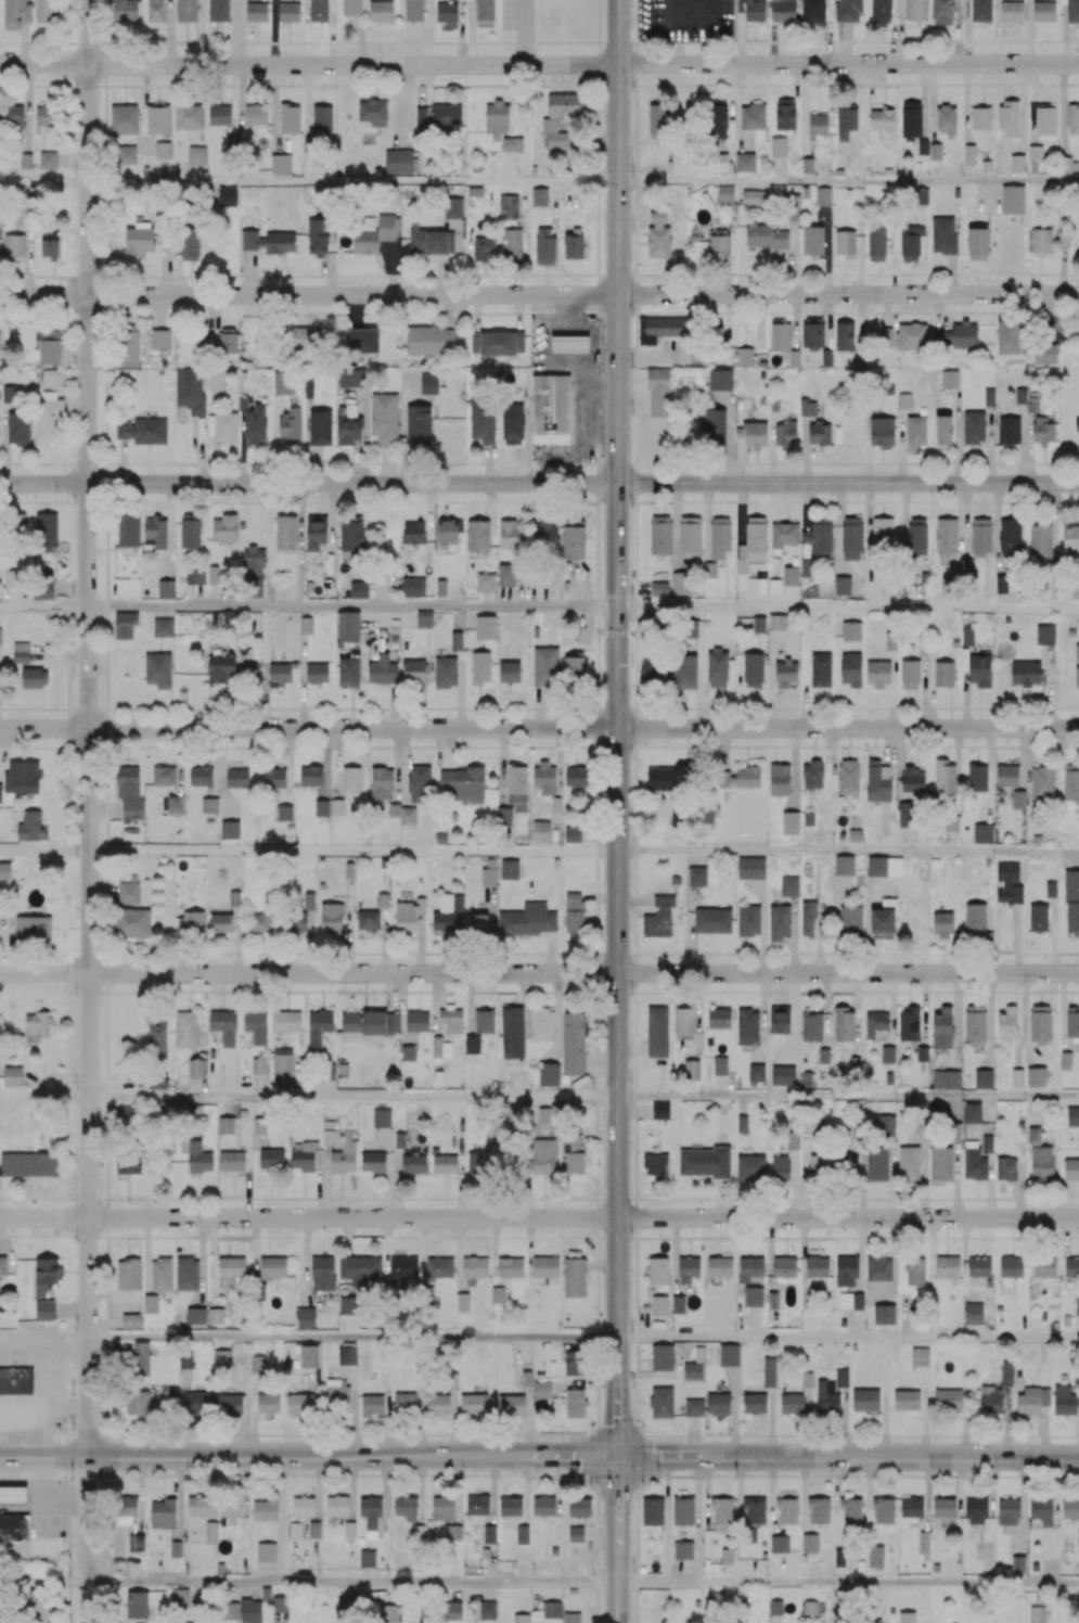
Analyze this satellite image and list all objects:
street lamp: (731, 38)
street lamp: (639, 39)
road: (848, 63)
road: (309, 64)
street lamp: (630, 89)
road: (848, 180)
road: (354, 182)
road: (44, 183)
road: (618, 241)
road: (848, 293)
road: (308, 294)
street lamp: (631, 316)
building: (573, 346)
street lamp: (600, 369)
road: (590, 383)
road: (604, 384)
building: (552, 409)
street lamp: (596, 464)
road: (309, 483)
road: (848, 483)
road: (87, 486)
street lamp: (60, 495)
street lamp: (312, 495)
street lamp: (933, 503)
street lamp: (632, 504)
traffic signals: (618, 595)
road: (43, 606)
road: (352, 606)
road: (848, 608)
traffic signals: (617, 664)
road: (308, 728)
road: (848, 728)
road: (848, 851)
road: (44, 852)
road: (354, 852)
road: (617, 926)
road: (44, 973)
road: (354, 973)
road: (848, 973)
road: (354, 1097)
road: (848, 1097)
road: (44, 1098)
road: (89, 1214)
road: (308, 1217)
road: (848, 1217)
road: (849, 1337)
road: (354, 1338)
road: (44, 1339)
building: (16, 1382)
road: (619, 1414)
street lamp: (78, 1426)
street lamp: (592, 1427)
road: (539, 1434)
road: (247, 1456)
road: (556, 1456)
traffic signals: (618, 1456)
road: (682, 1456)
road: (912, 1456)
street lamp: (69, 1477)
street lamp: (188, 1477)
street lamp: (467, 1478)
street lamp: (655, 1478)
building: (13, 1496)
road: (618, 1519)
building: (14, 1529)
road: (89, 1539)
road: (354, 1581)
road: (848, 1583)
road: (618, 1602)

